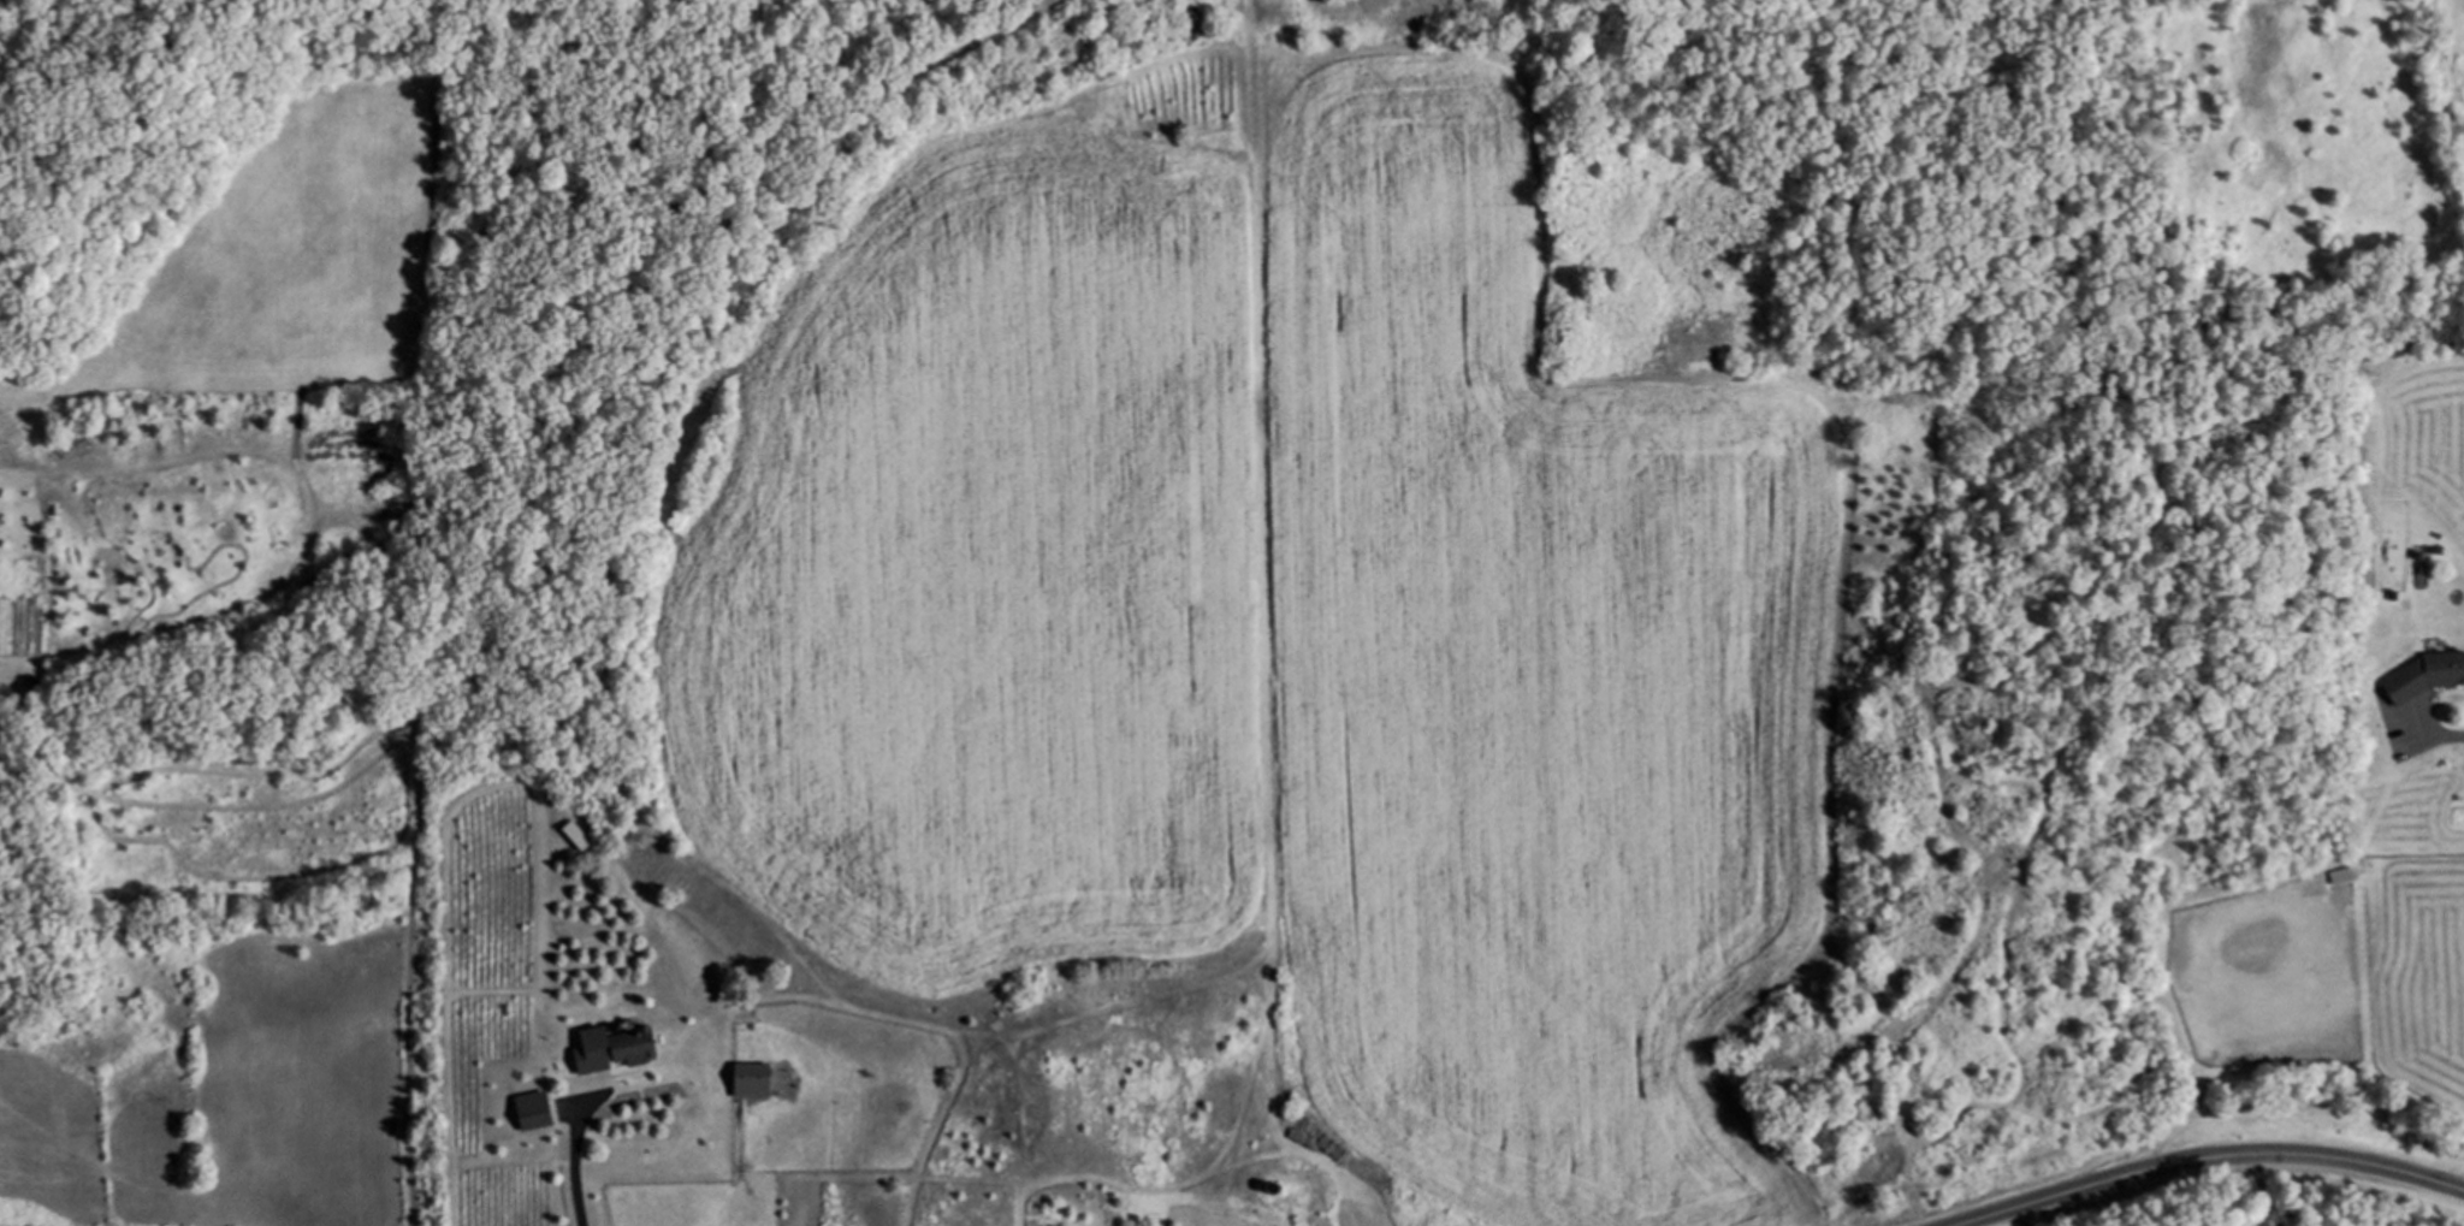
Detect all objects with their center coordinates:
building: (2428, 679)
road: (2440, 734)
building: (2347, 877)
building: (757, 1082)
building: (539, 1112)
road: (2205, 1159)
road: (576, 1162)

